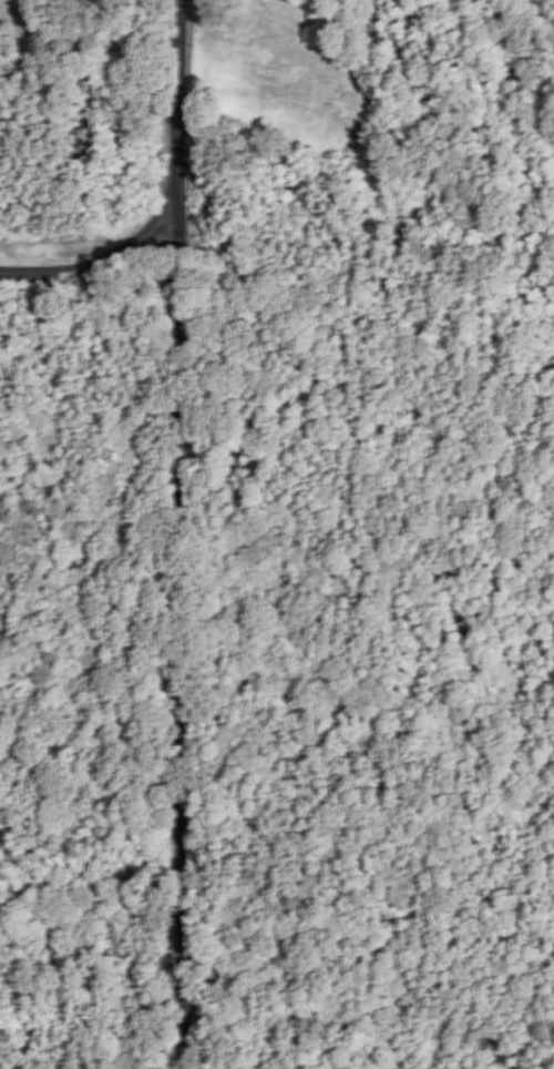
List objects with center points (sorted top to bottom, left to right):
road: (89, 271)
road: (178, 534)

